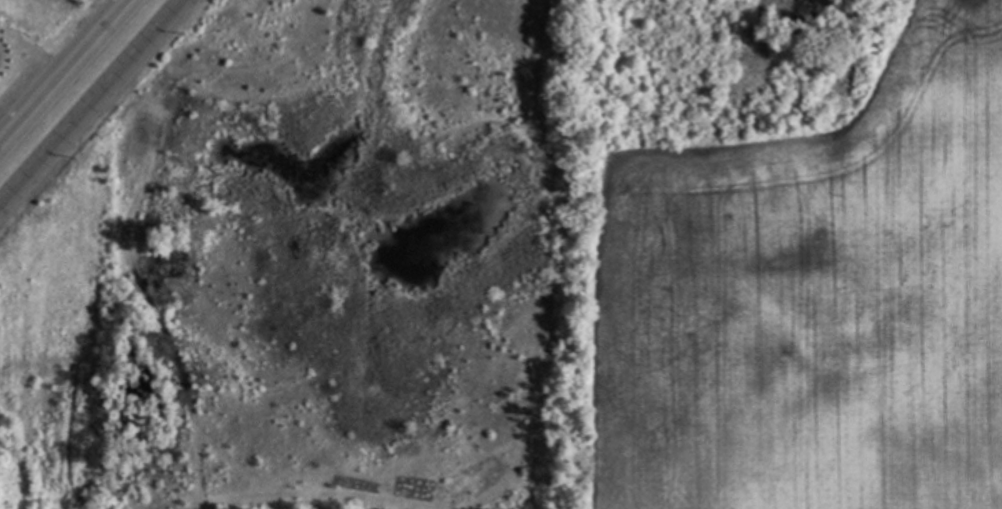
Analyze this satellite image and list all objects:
road: (66, 73)
road: (87, 99)
crop: (813, 298)

